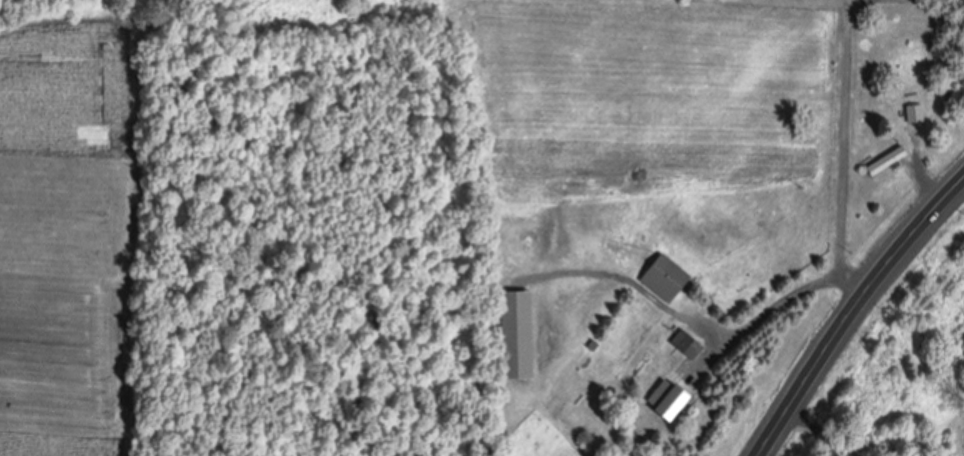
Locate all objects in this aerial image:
building: (919, 112)
building: (893, 159)
building: (671, 277)
road: (852, 309)
building: (523, 331)
building: (674, 398)
road: (818, 431)

